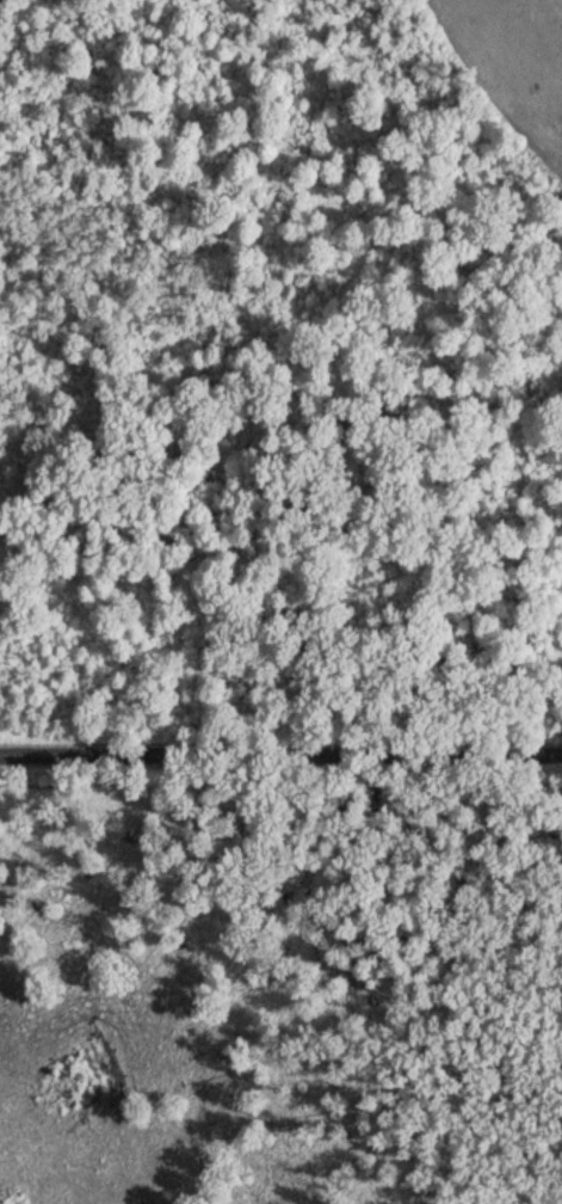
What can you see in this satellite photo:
road: (280, 760)

